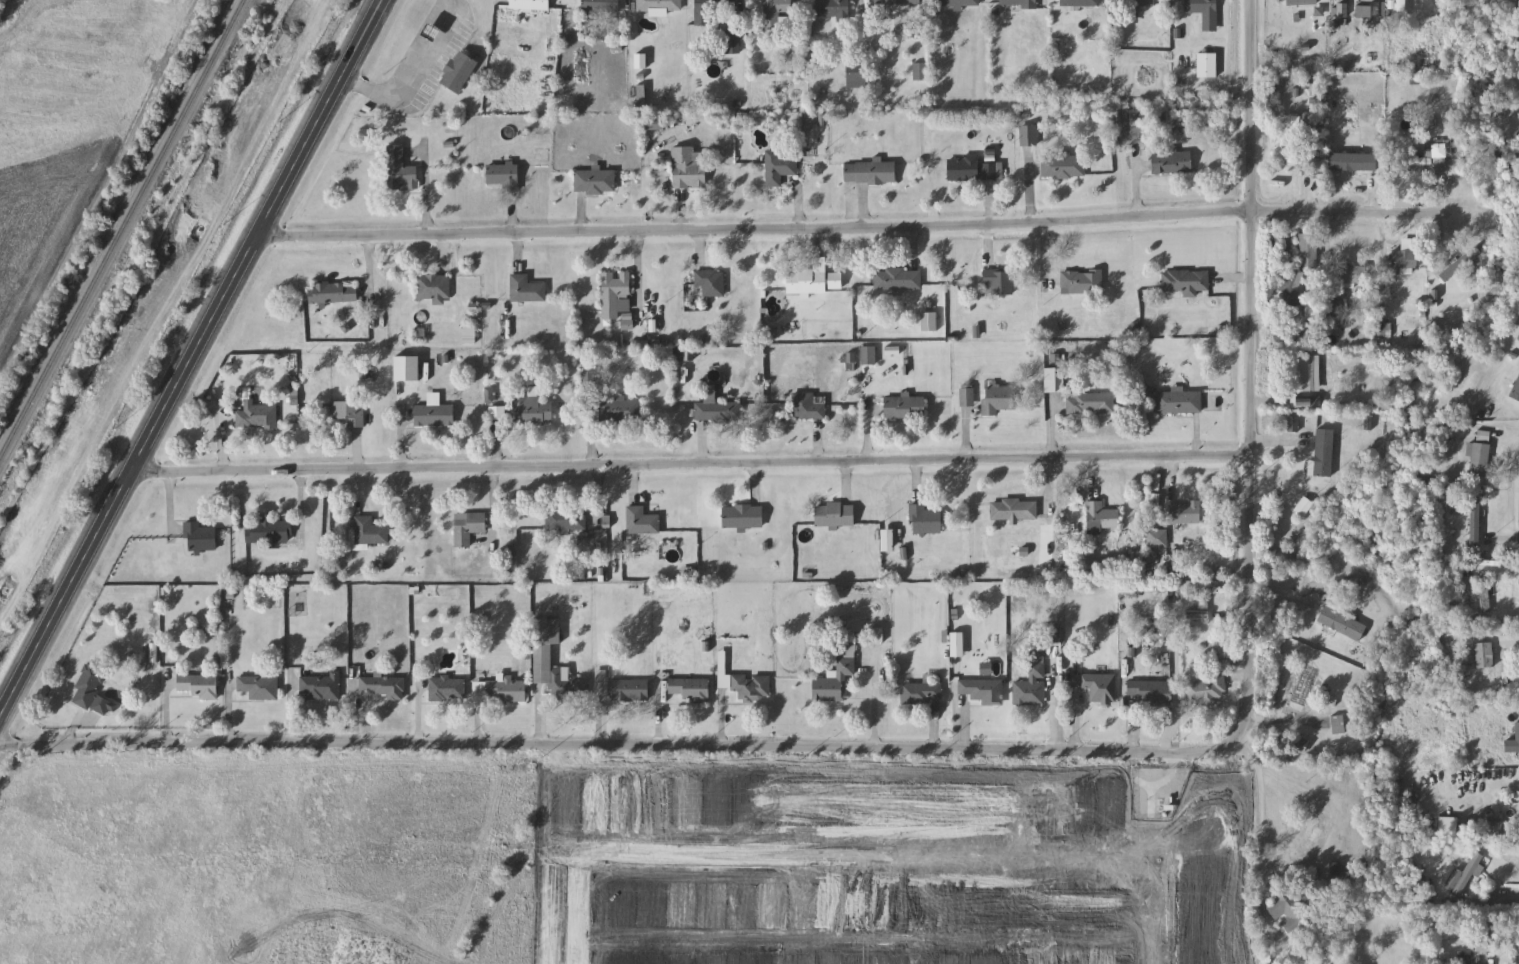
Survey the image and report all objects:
building: (897, 2)
building: (1140, 2)
building: (959, 3)
building: (1021, 3)
building: (1080, 3)
building: (1302, 3)
building: (530, 4)
building: (601, 6)
building: (659, 6)
building: (1401, 8)
building: (833, 9)
building: (710, 10)
building: (1341, 11)
building: (1368, 11)
building: (775, 12)
building: (1205, 12)
building: (1207, 65)
building: (459, 72)
road: (417, 76)
building: (1028, 136)
building: (1295, 139)
building: (1442, 153)
building: (1172, 162)
building: (1421, 162)
building: (1061, 164)
building: (779, 167)
road: (1135, 167)
building: (968, 168)
building: (689, 169)
building: (401, 170)
building: (870, 172)
building: (504, 176)
building: (595, 182)
road: (423, 184)
road: (1029, 186)
road: (849, 226)
railway: (122, 229)
building: (1309, 251)
building: (1404, 259)
road: (636, 267)
building: (1452, 270)
road: (368, 273)
building: (1350, 275)
building: (897, 279)
building: (815, 282)
building: (1081, 282)
building: (1187, 282)
building: (710, 283)
building: (999, 283)
building: (1287, 286)
building: (434, 287)
building: (527, 289)
building: (615, 289)
railway: (155, 292)
building: (334, 293)
building: (868, 355)
road: (190, 356)
road: (1247, 372)
building: (1300, 374)
building: (1055, 381)
building: (1515, 390)
building: (967, 397)
building: (998, 399)
building: (1179, 403)
building: (1090, 404)
building: (806, 407)
building: (905, 408)
building: (532, 410)
building: (718, 410)
building: (349, 412)
building: (619, 412)
building: (258, 416)
building: (435, 416)
road: (1489, 432)
road: (221, 436)
road: (588, 436)
road: (494, 444)
building: (1324, 453)
building: (1480, 456)
road: (689, 464)
road: (168, 501)
road: (299, 507)
road: (491, 509)
building: (1014, 510)
building: (1185, 513)
building: (835, 515)
building: (743, 517)
building: (1101, 518)
building: (567, 519)
building: (925, 519)
building: (641, 521)
building: (1475, 521)
building: (468, 528)
building: (268, 532)
building: (370, 532)
building: (200, 537)
building: (1158, 538)
building: (889, 541)
building: (1485, 594)
building: (1342, 620)
building: (543, 656)
building: (1483, 665)
building: (836, 676)
building: (89, 685)
building: (199, 685)
building: (384, 686)
building: (747, 686)
building: (1100, 686)
building: (259, 687)
building: (1031, 687)
building: (320, 688)
building: (1305, 688)
building: (447, 689)
building: (690, 689)
building: (1207, 689)
building: (506, 690)
building: (629, 690)
building: (982, 690)
building: (1151, 692)
building: (921, 693)
road: (1055, 697)
road: (873, 700)
road: (657, 703)
road: (164, 705)
road: (598, 705)
road: (228, 707)
road: (290, 707)
road: (352, 707)
road: (417, 709)
road: (476, 709)
road: (538, 717)
road: (720, 719)
building: (1339, 724)
building: (1513, 741)
road: (615, 744)
road: (1285, 783)
building: (1487, 830)
road: (1258, 833)
building: (1306, 838)
road: (605, 850)
building: (1465, 875)
road: (1501, 896)
road: (36, 907)
road: (560, 907)
road: (1143, 910)
building: (1290, 913)
building: (1474, 951)

